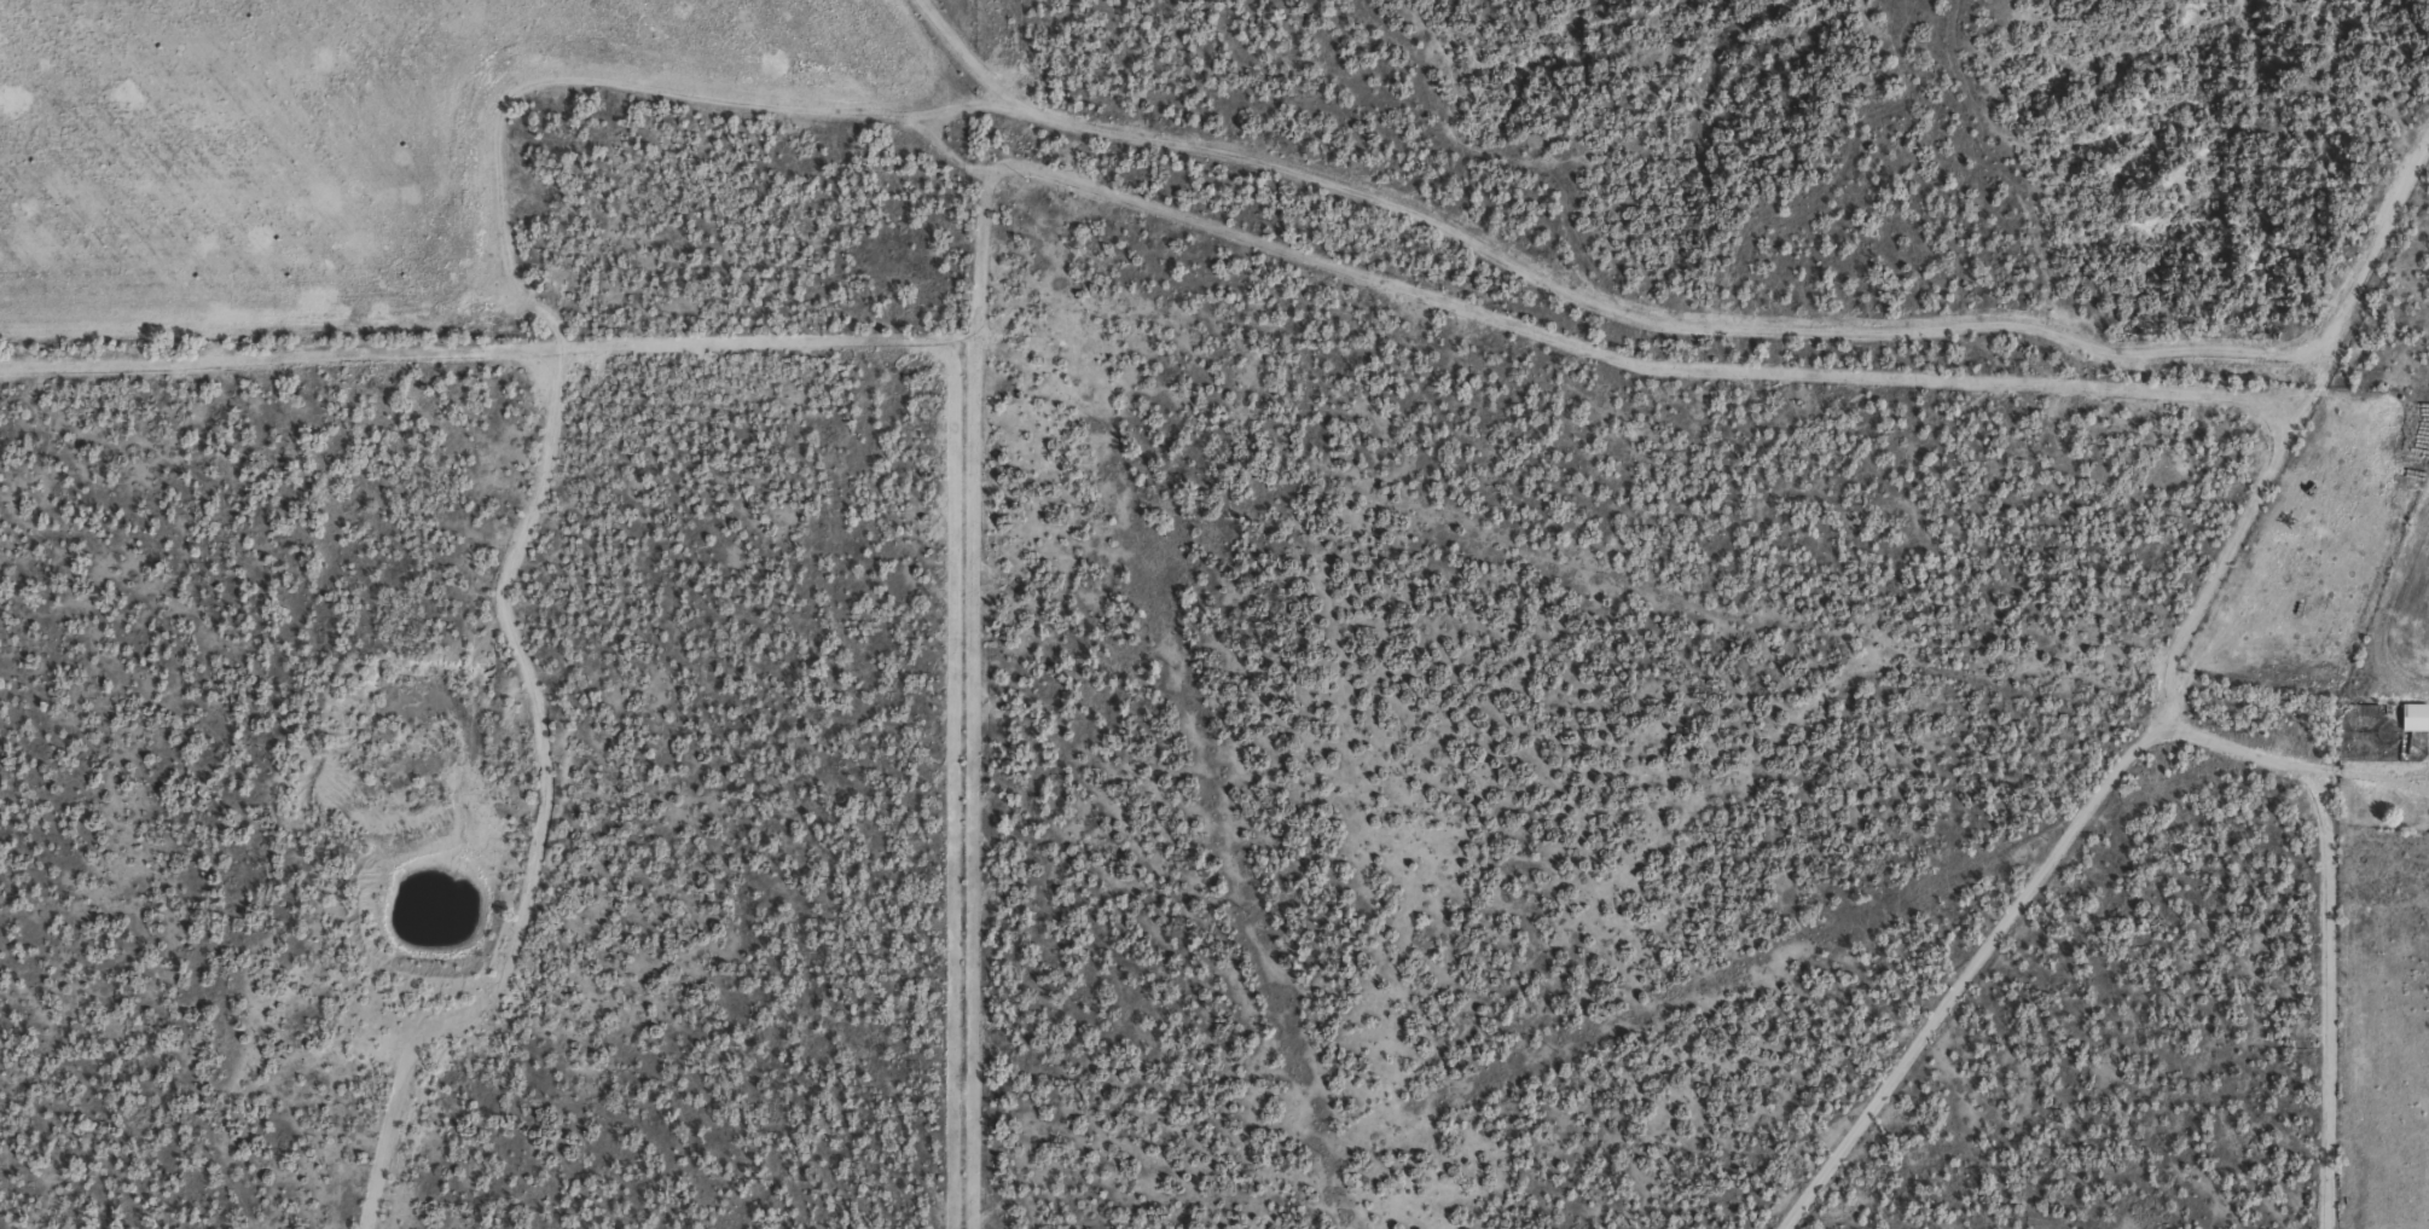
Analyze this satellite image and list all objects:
building: (2418, 714)
road: (2047, 865)

